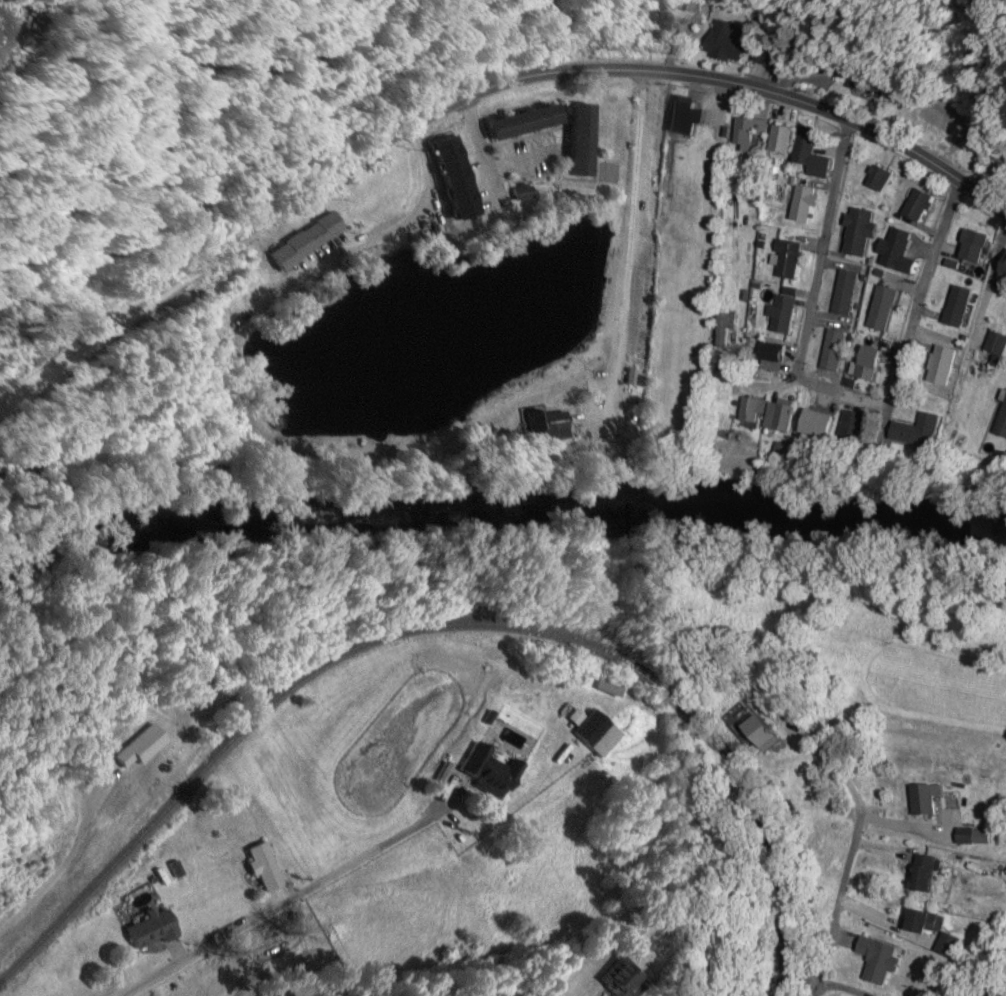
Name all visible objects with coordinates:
building: (20, 33)
building: (728, 41)
building: (772, 56)
building: (871, 83)
road: (474, 90)
building: (688, 114)
building: (960, 119)
building: (529, 121)
building: (752, 131)
building: (586, 138)
building: (786, 138)
building: (815, 152)
building: (1002, 153)
building: (459, 177)
building: (884, 177)
building: (923, 202)
building: (808, 203)
building: (864, 230)
building: (310, 239)
building: (980, 244)
building: (901, 248)
building: (791, 257)
building: (1004, 273)
building: (848, 291)
building: (962, 305)
building: (887, 306)
building: (786, 314)
building: (728, 326)
building: (999, 342)
building: (837, 348)
building: (774, 353)
building: (874, 362)
building: (946, 363)
road: (834, 389)
building: (757, 408)
building: (785, 415)
road: (40, 419)
building: (549, 421)
building: (826, 422)
building: (857, 425)
building: (1004, 427)
building: (921, 431)
road: (4, 487)
river: (499, 505)
railway: (440, 626)
power tower: (580, 677)
building: (596, 730)
building: (771, 733)
building: (492, 770)
building: (931, 799)
building: (972, 835)
building: (267, 864)
building: (933, 876)
road: (837, 905)
road: (266, 912)
building: (932, 920)
building: (155, 928)
building: (950, 943)
building: (883, 957)
building: (637, 977)

